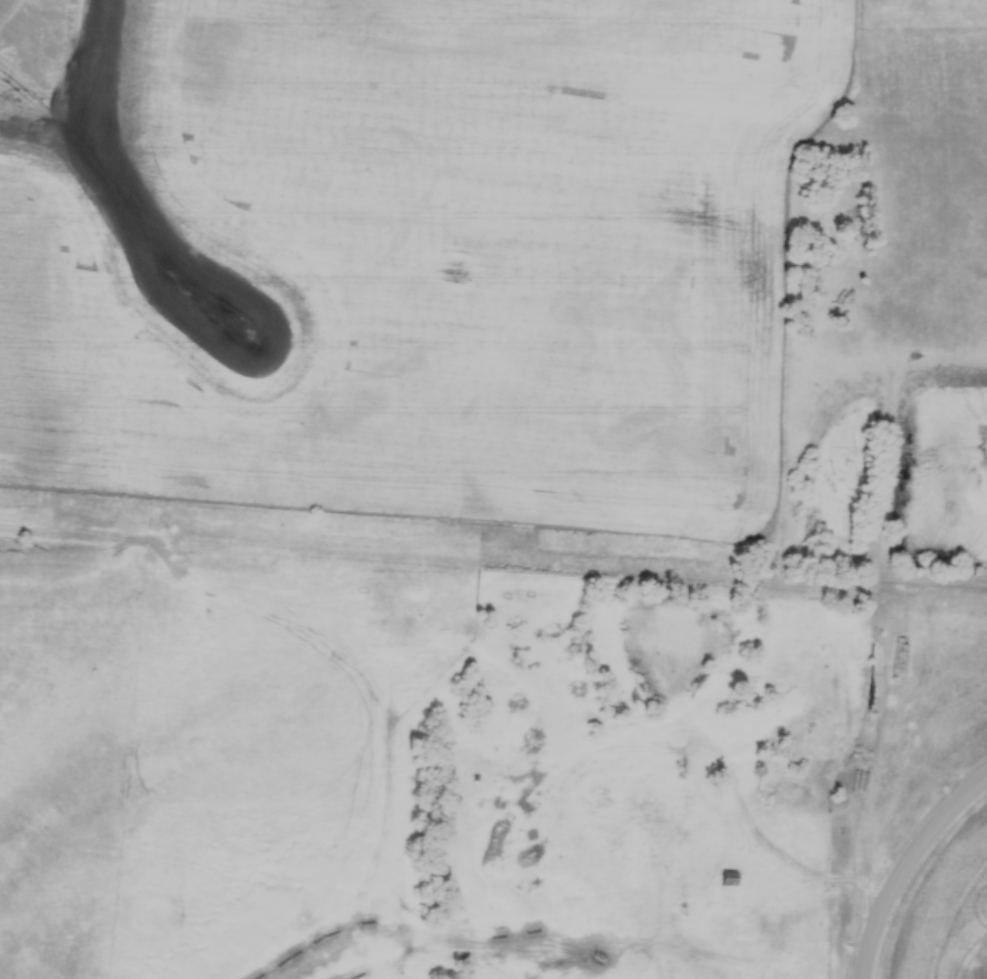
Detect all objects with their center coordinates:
road: (911, 870)

